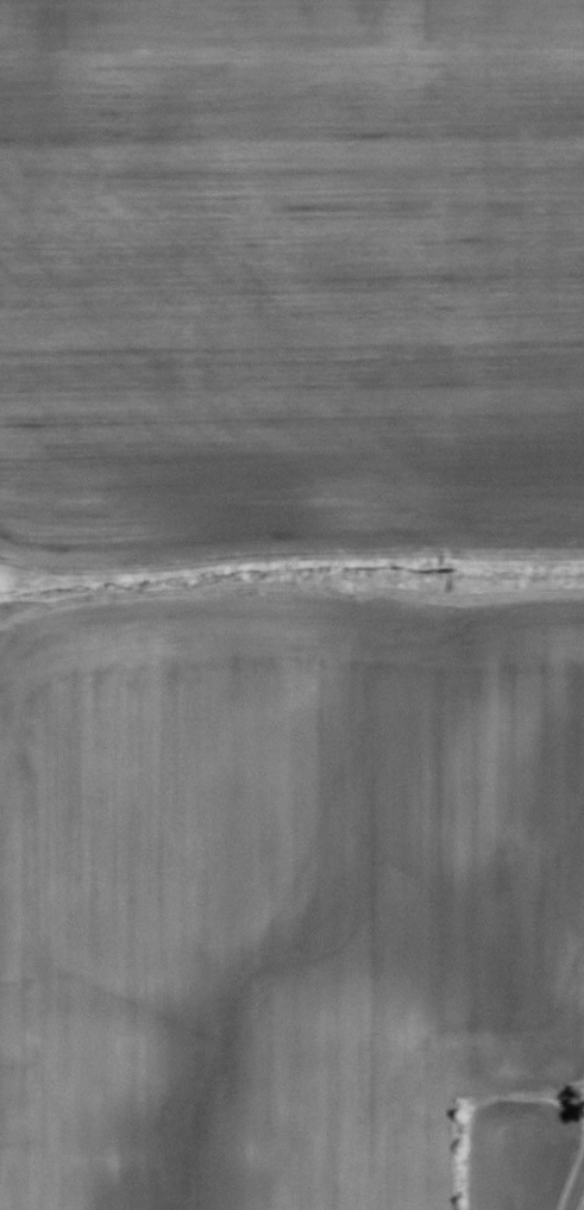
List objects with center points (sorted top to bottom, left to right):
road: (577, 1193)

